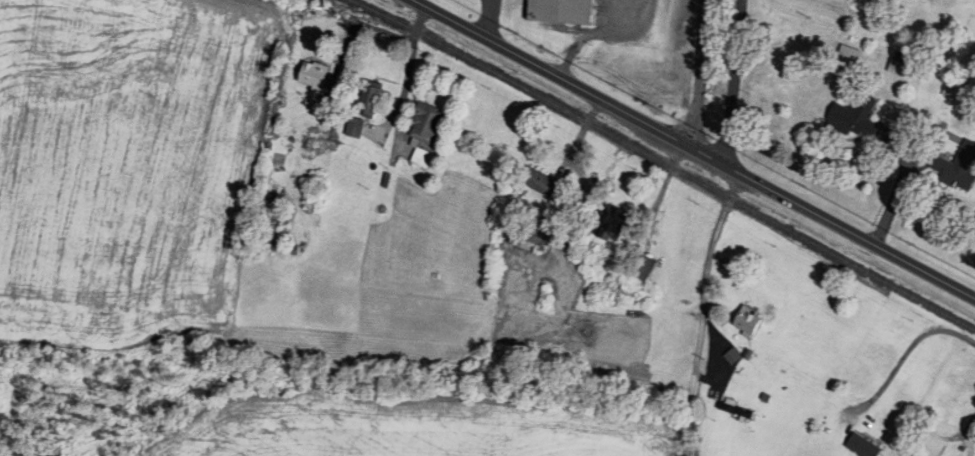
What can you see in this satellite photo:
building: (562, 12)
road: (488, 18)
building: (903, 65)
road: (700, 71)
road: (730, 82)
road: (407, 83)
building: (952, 89)
building: (369, 99)
building: (856, 117)
building: (355, 129)
road: (583, 132)
building: (425, 133)
road: (694, 147)
railway: (664, 162)
building: (958, 169)
road: (666, 182)
building: (541, 183)
road: (735, 187)
building: (613, 225)
road: (710, 254)
building: (642, 268)
building: (747, 324)
road: (907, 349)
building: (734, 409)
road: (971, 423)
building: (862, 447)

